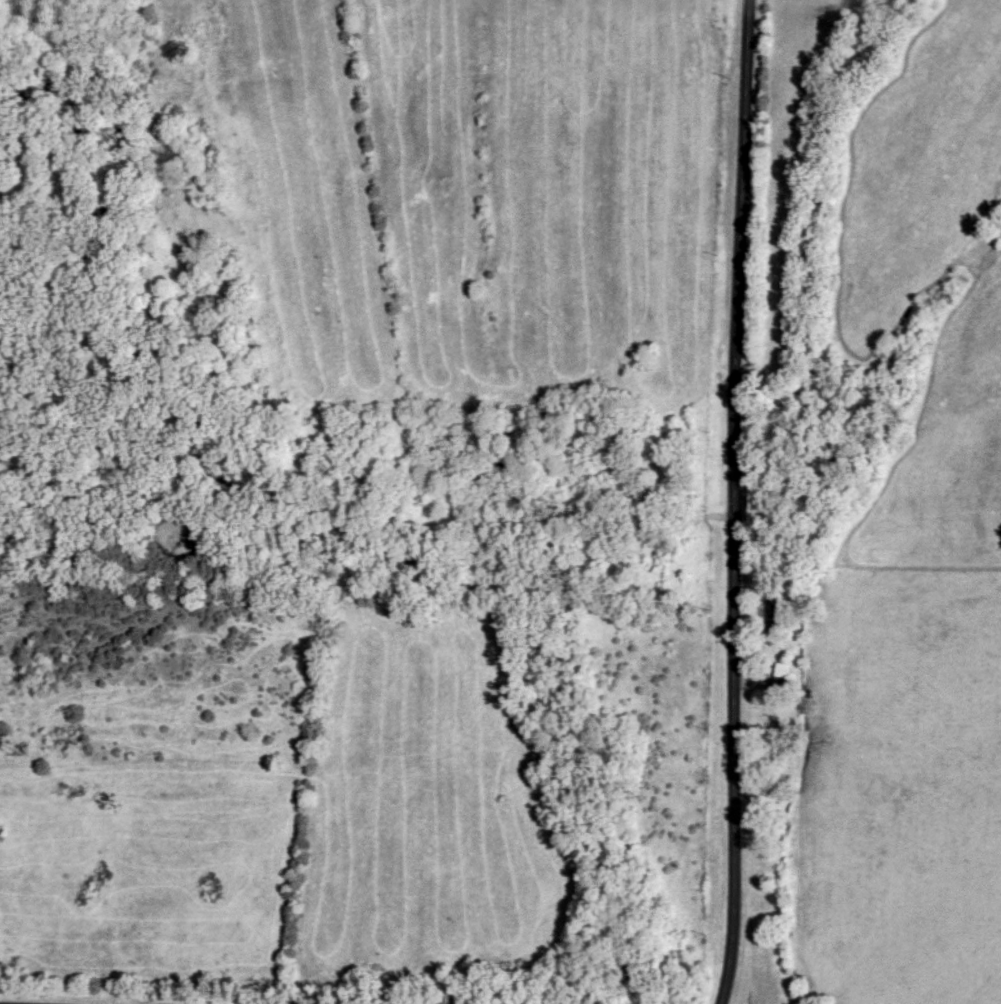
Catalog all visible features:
road: (739, 502)
building: (770, 611)
building: (779, 686)
building: (777, 741)

